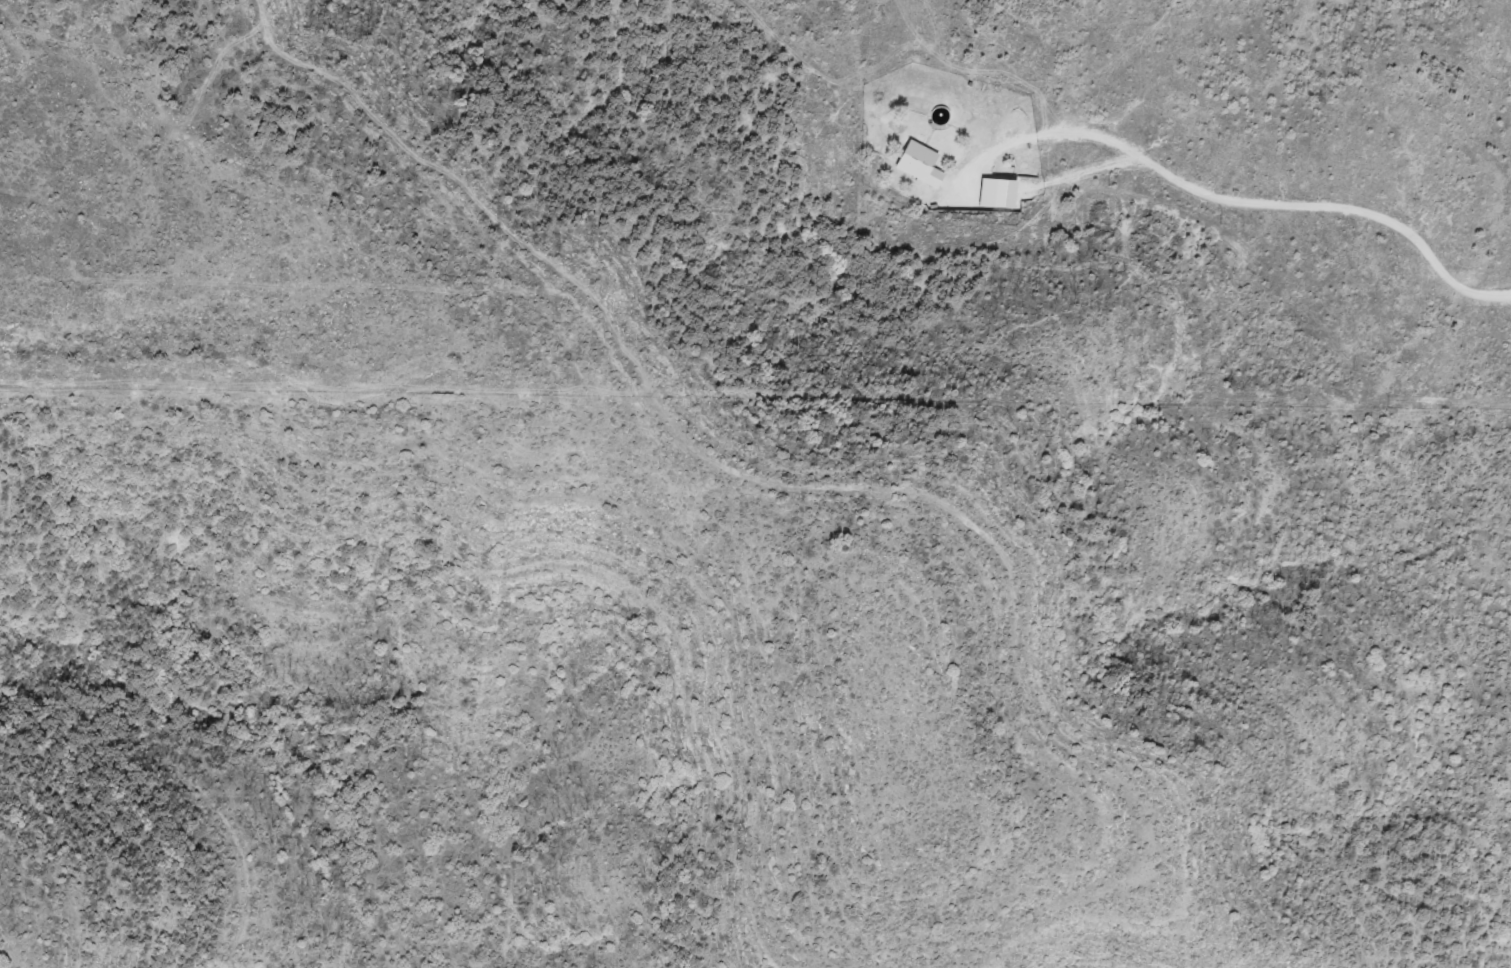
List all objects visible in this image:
building: (919, 163)
building: (998, 192)

